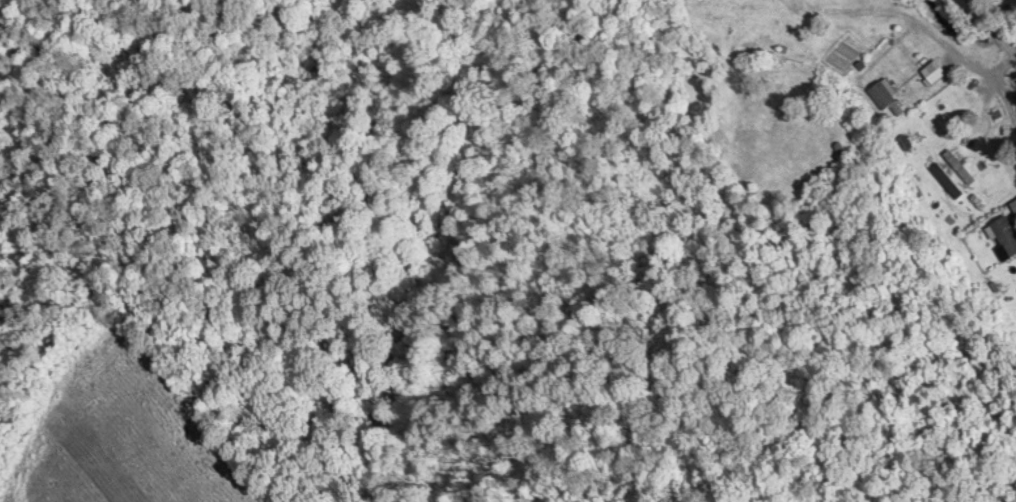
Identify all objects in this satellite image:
road: (989, 31)
road: (1013, 56)
road: (964, 68)
building: (929, 72)
building: (880, 97)
building: (943, 181)
building: (1001, 238)

